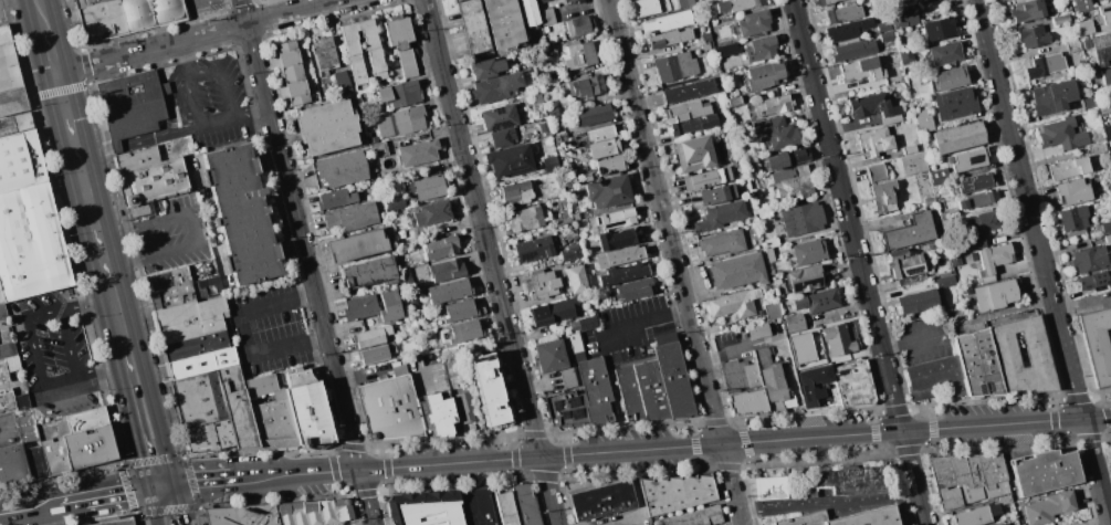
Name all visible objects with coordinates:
building: (924, 0)
building: (1096, 0)
road: (6, 1)
building: (541, 1)
building: (576, 1)
building: (929, 1)
building: (90, 2)
building: (688, 2)
building: (826, 2)
building: (737, 4)
building: (1082, 6)
parking lot: (205, 7)
building: (644, 8)
building: (1029, 11)
building: (530, 12)
building: (843, 13)
road: (42, 14)
building: (1105, 14)
building: (547, 15)
building: (129, 17)
building: (904, 17)
road: (197, 18)
building: (1061, 20)
building: (756, 21)
building: (668, 22)
building: (503, 24)
building: (1086, 25)
building: (473, 27)
building: (579, 27)
building: (883, 27)
building: (936, 29)
building: (546, 30)
building: (849, 30)
road: (198, 36)
building: (704, 36)
building: (887, 36)
building: (1033, 36)
building: (669, 39)
building: (400, 44)
building: (1072, 45)
building: (704, 46)
building: (761, 49)
building: (1101, 49)
building: (551, 50)
building: (726, 50)
building: (853, 50)
road: (51, 51)
building: (945, 53)
building: (580, 54)
building: (324, 55)
rooftop solar panel: (570, 56)
building: (905, 56)
rooftop solar panel: (579, 57)
building: (375, 59)
road: (186, 60)
building: (9, 63)
building: (599, 64)
building: (1046, 64)
building: (675, 66)
building: (486, 69)
building: (861, 71)
building: (294, 74)
building: (555, 75)
building: (1105, 75)
building: (762, 76)
road: (223, 77)
building: (950, 78)
building: (342, 82)
building: (495, 87)
building: (585, 87)
road: (165, 90)
building: (689, 91)
building: (400, 94)
building: (1052, 96)
building: (537, 98)
building: (734, 101)
building: (1088, 101)
parking lot: (212, 102)
building: (13, 103)
road: (195, 103)
building: (958, 104)
building: (725, 105)
building: (773, 106)
building: (133, 107)
building: (876, 107)
building: (1104, 108)
building: (689, 111)
rooftop solar panel: (500, 112)
building: (593, 114)
building: (499, 117)
building: (923, 120)
road: (219, 122)
building: (402, 122)
building: (15, 124)
rooftop solar panel: (500, 124)
building: (692, 125)
building: (327, 127)
building: (544, 127)
building: (777, 132)
building: (1107, 132)
building: (600, 134)
building: (1061, 135)
building: (957, 137)
building: (502, 138)
road: (147, 139)
building: (557, 139)
building: (373, 140)
building: (876, 140)
road: (117, 147)
building: (378, 149)
building: (604, 149)
building: (1099, 149)
building: (691, 150)
building: (910, 150)
road: (96, 153)
building: (418, 153)
building: (727, 156)
building: (138, 158)
building: (787, 158)
rooftop solar panel: (974, 159)
building: (510, 160)
building: (969, 160)
building: (20, 161)
building: (551, 164)
building: (913, 164)
building: (609, 166)
building: (339, 169)
building: (430, 169)
building: (1069, 169)
rooftop solar panel: (516, 170)
building: (877, 172)
building: (380, 176)
building: (939, 177)
building: (588, 178)
building: (706, 178)
building: (156, 181)
building: (975, 182)
building: (793, 183)
building: (426, 188)
building: (1109, 189)
building: (608, 191)
building: (1073, 191)
building: (517, 192)
building: (716, 195)
building: (884, 196)
building: (335, 199)
building: (930, 200)
building: (978, 200)
building: (396, 204)
road: (94, 212)
building: (432, 212)
building: (765, 213)
building: (242, 216)
building: (721, 216)
road: (846, 216)
building: (353, 217)
building: (577, 217)
building: (1073, 218)
building: (803, 219)
building: (525, 220)
building: (612, 221)
building: (984, 222)
building: (1107, 227)
road: (193, 229)
building: (910, 232)
road: (116, 234)
building: (618, 239)
building: (1108, 239)
building: (772, 242)
building: (723, 243)
building: (972, 243)
building: (31, 244)
building: (356, 245)
building: (440, 248)
building: (534, 250)
building: (572, 252)
building: (809, 252)
building: (769, 255)
building: (620, 256)
building: (995, 256)
rooftop solar panel: (528, 258)
building: (1090, 259)
building: (955, 260)
road: (306, 262)
road: (490, 262)
road: (674, 262)
road: (1042, 262)
road: (125, 264)
building: (904, 264)
rooftop solar panel: (913, 270)
building: (447, 271)
building: (737, 271)
building: (369, 274)
building: (622, 274)
building: (169, 280)
building: (576, 280)
building: (803, 280)
building: (912, 280)
building: (987, 280)
building: (944, 281)
building: (1093, 281)
building: (420, 284)
building: (542, 284)
building: (635, 288)
building: (448, 292)
building: (997, 294)
building: (174, 297)
building: (1, 298)
building: (817, 301)
building: (919, 301)
road: (87, 302)
building: (734, 303)
building: (360, 307)
building: (389, 307)
building: (2, 311)
building: (459, 311)
building: (554, 311)
building: (773, 311)
building: (759, 318)
building: (192, 319)
building: (13, 321)
building: (795, 323)
building: (585, 324)
road: (644, 326)
building: (465, 330)
parking lot: (629, 330)
building: (758, 330)
road: (242, 334)
building: (371, 336)
building: (837, 342)
building: (575, 343)
road: (913, 344)
building: (1097, 344)
road: (70, 346)
building: (197, 346)
road: (740, 346)
building: (801, 348)
building: (1004, 349)
building: (8, 350)
road: (38, 355)
building: (375, 355)
parking lot: (53, 356)
building: (551, 356)
rooftop solar panel: (488, 357)
rooftop solar panel: (475, 360)
building: (202, 364)
building: (977, 365)
building: (9, 367)
building: (399, 371)
rooftop solar panel: (842, 371)
parking lot: (426, 374)
road: (106, 375)
building: (673, 377)
building: (742, 377)
building: (568, 379)
building: (936, 379)
building: (774, 382)
building: (853, 384)
road: (794, 386)
building: (819, 389)
rooftop solar panel: (983, 389)
building: (488, 390)
building: (650, 390)
building: (597, 391)
road: (617, 395)
building: (629, 395)
building: (199, 399)
building: (12, 400)
building: (751, 402)
rooftop solar panel: (573, 403)
rooftop solar panel: (555, 406)
building: (237, 407)
building: (308, 409)
building: (392, 409)
building: (565, 409)
building: (465, 411)
building: (271, 412)
building: (438, 412)
road: (426, 414)
rooftop solar panel: (564, 414)
rooftop solar panel: (577, 416)
flagpole: (684, 418)
road: (145, 419)
building: (83, 421)
parking lot: (9, 431)
road: (1, 435)
building: (209, 435)
road: (670, 447)
building: (1110, 447)
building: (90, 448)
road: (436, 450)
building: (55, 456)
building: (36, 463)
building: (13, 466)
building: (1044, 472)
road: (913, 477)
building: (967, 479)
road: (196, 482)
building: (819, 483)
traffic signals: (161, 485)
road: (122, 491)
building: (677, 493)
building: (600, 500)
road: (71, 501)
building: (1005, 501)
road: (155, 504)
road: (174, 504)
building: (525, 504)
road: (640, 504)
building: (475, 506)
road: (828, 506)
building: (505, 507)
building: (1050, 507)
building: (425, 508)
road: (29, 510)
building: (314, 512)
building: (244, 515)
building: (975, 515)
building: (693, 517)
building: (847, 518)
building: (118, 522)
road: (368, 524)
building: (1005, 524)

